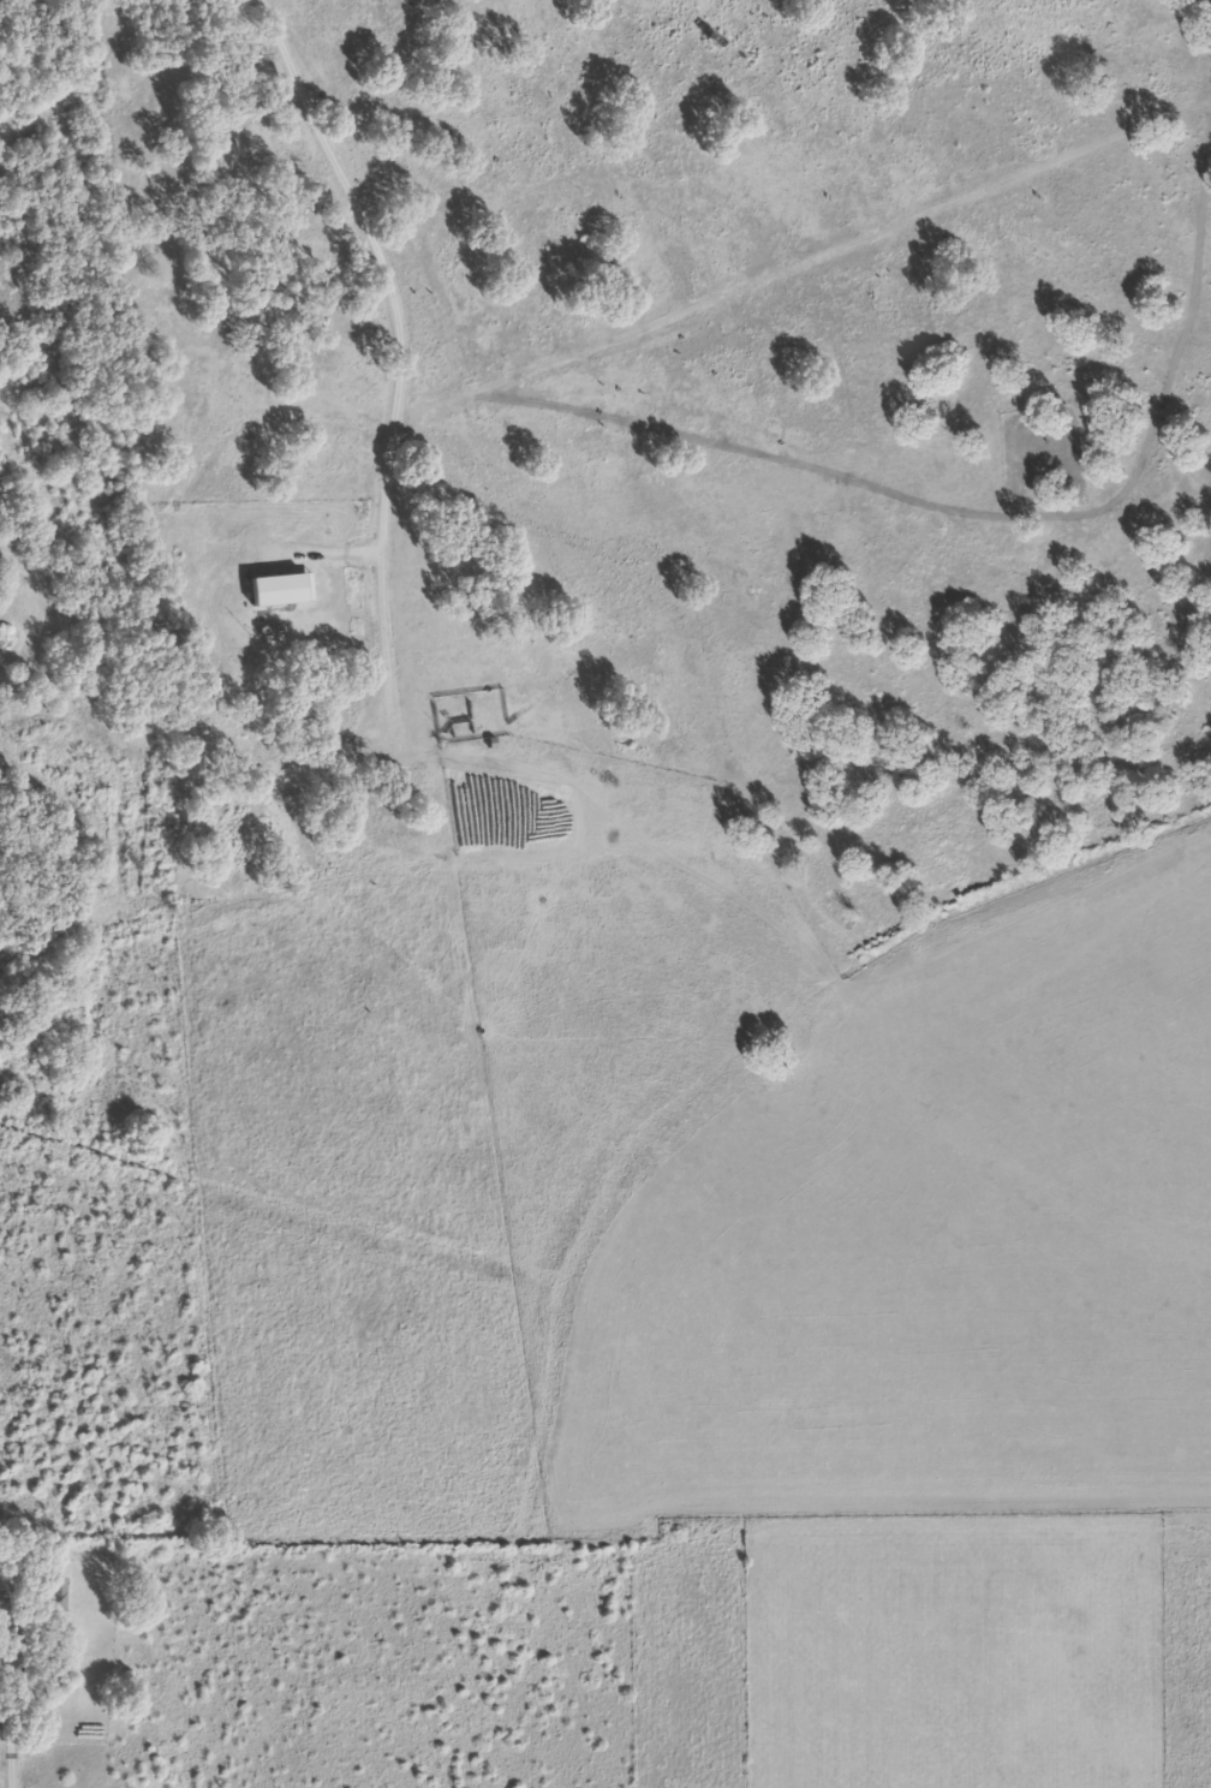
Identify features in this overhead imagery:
road: (398, 275)
building: (285, 591)
building: (59, 1595)
road: (101, 1723)

